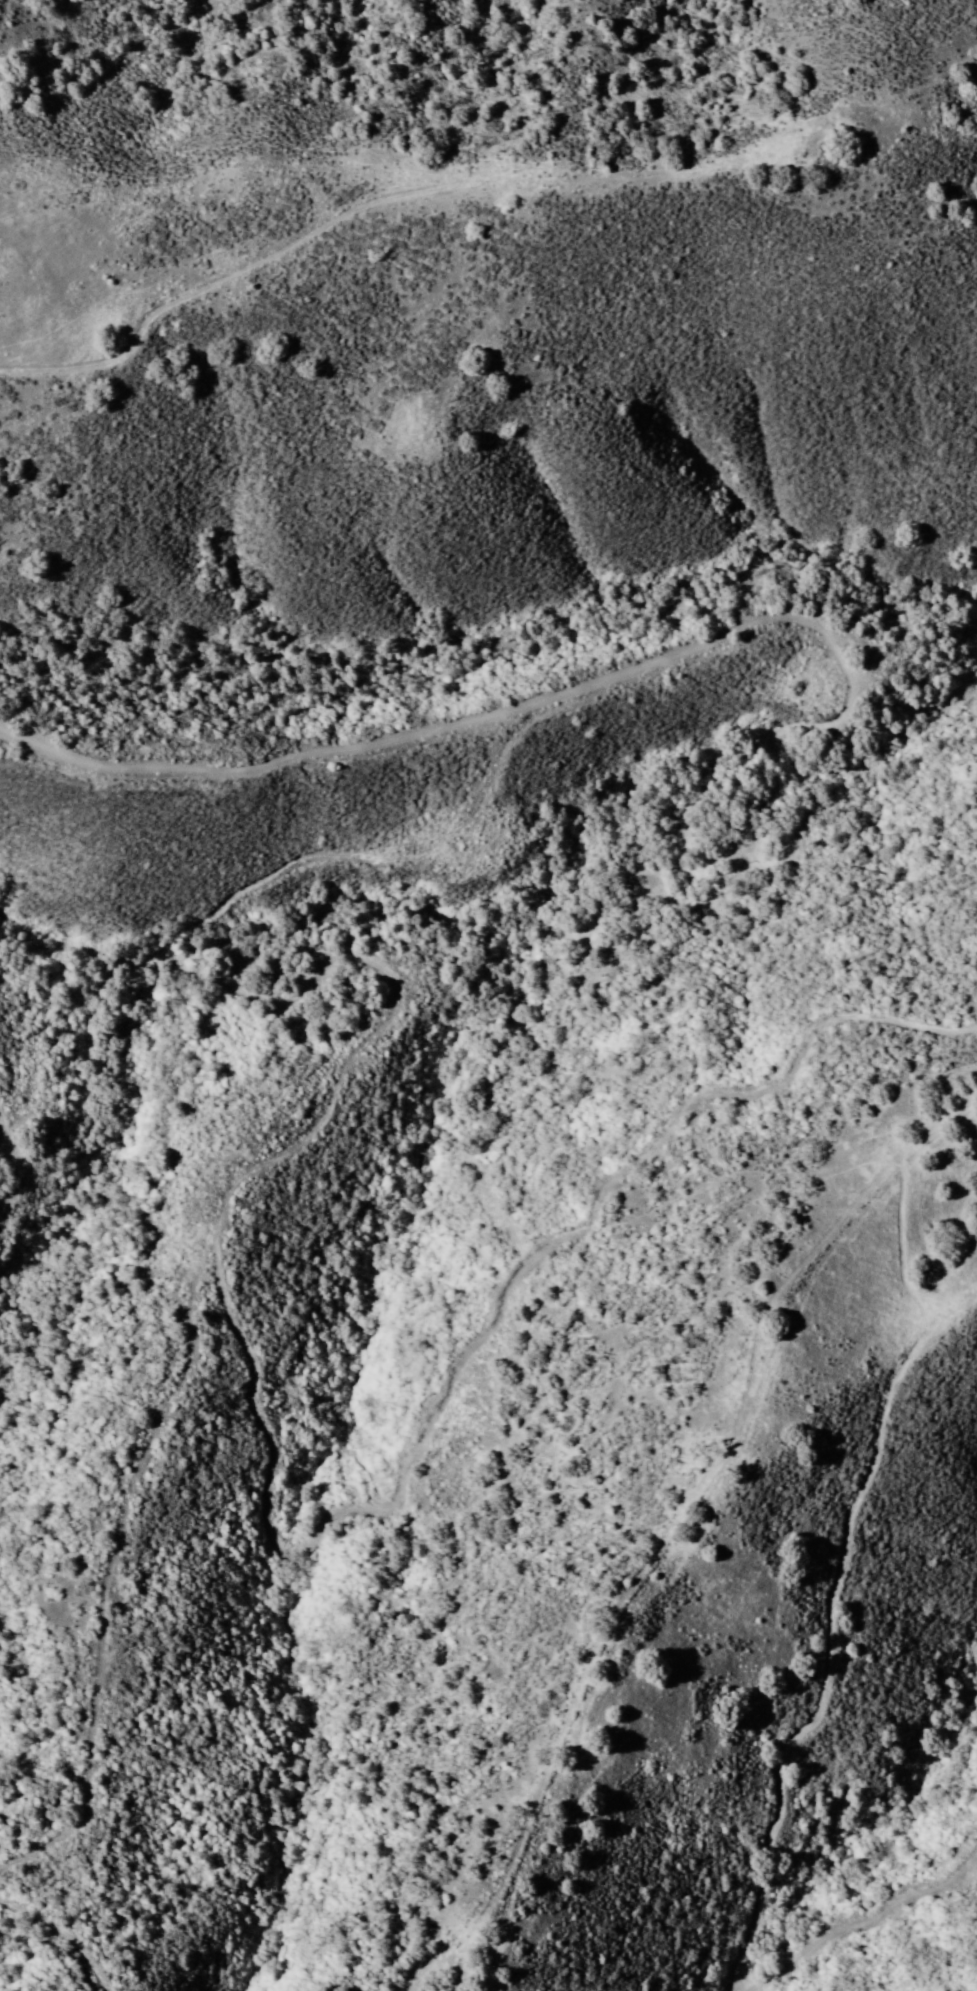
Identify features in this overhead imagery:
road: (609, 692)

